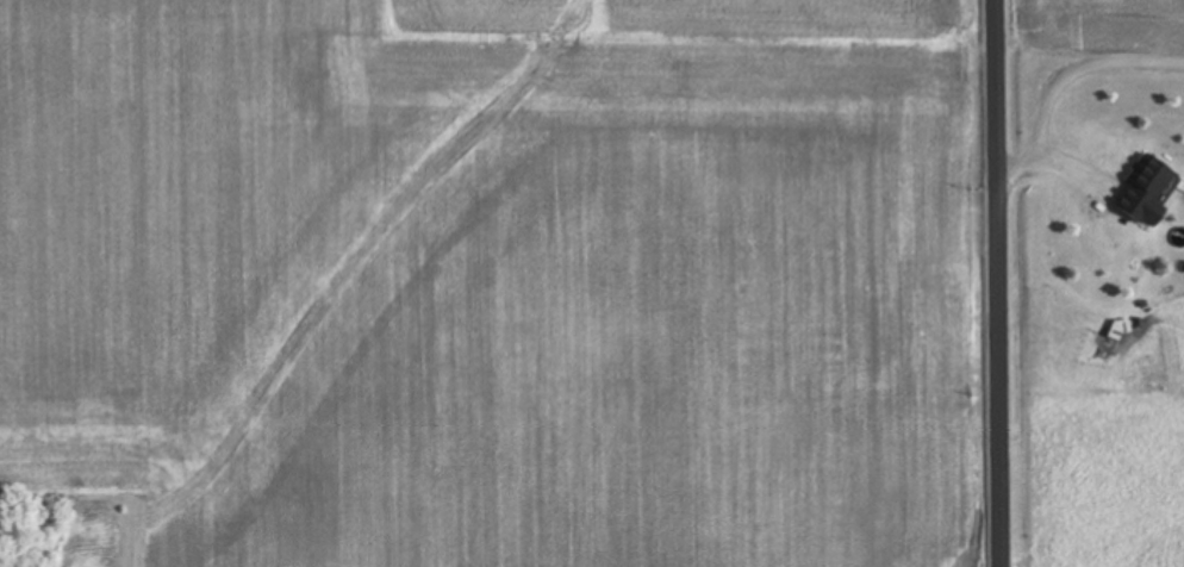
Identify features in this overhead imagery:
road: (1064, 76)
building: (1149, 194)
road: (1001, 282)

